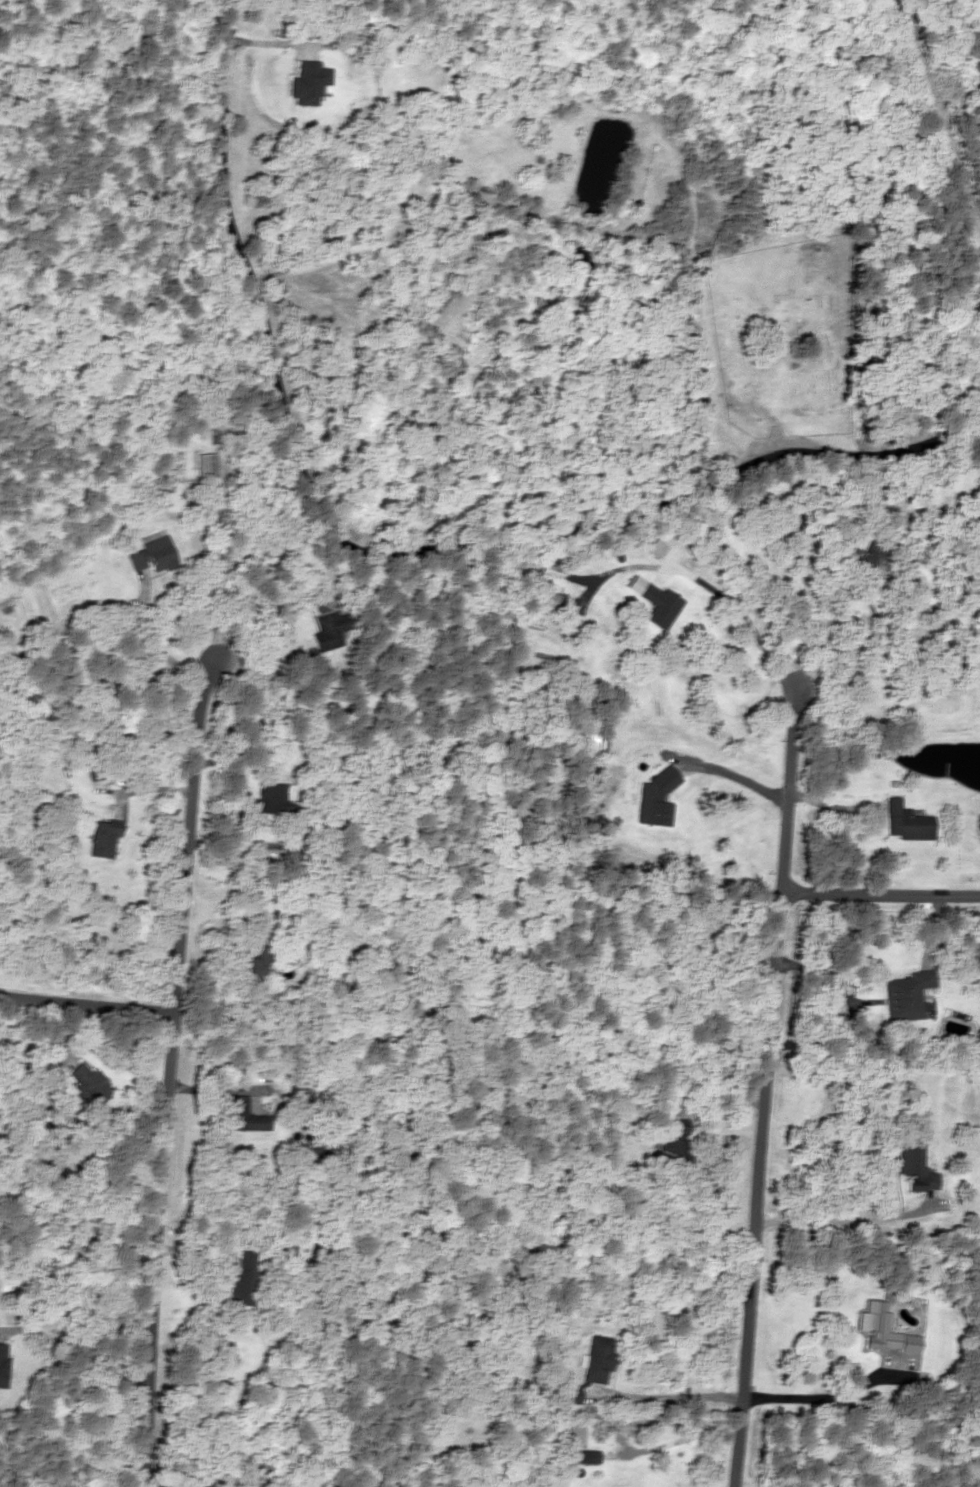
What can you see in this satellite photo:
building: (307, 82)
building: (204, 466)
building: (978, 508)
building: (150, 555)
road: (383, 556)
building: (545, 599)
building: (658, 605)
building: (331, 628)
building: (271, 798)
building: (906, 822)
building: (102, 838)
road: (880, 894)
building: (248, 968)
building: (904, 995)
road: (86, 1003)
road: (167, 1069)
building: (87, 1081)
road: (764, 1086)
building: (242, 1116)
building: (673, 1144)
building: (914, 1165)
road: (867, 1225)
building: (242, 1279)
building: (882, 1329)
building: (597, 1359)
building: (539, 1362)
building: (2, 1364)
building: (569, 1395)
building: (574, 1433)

